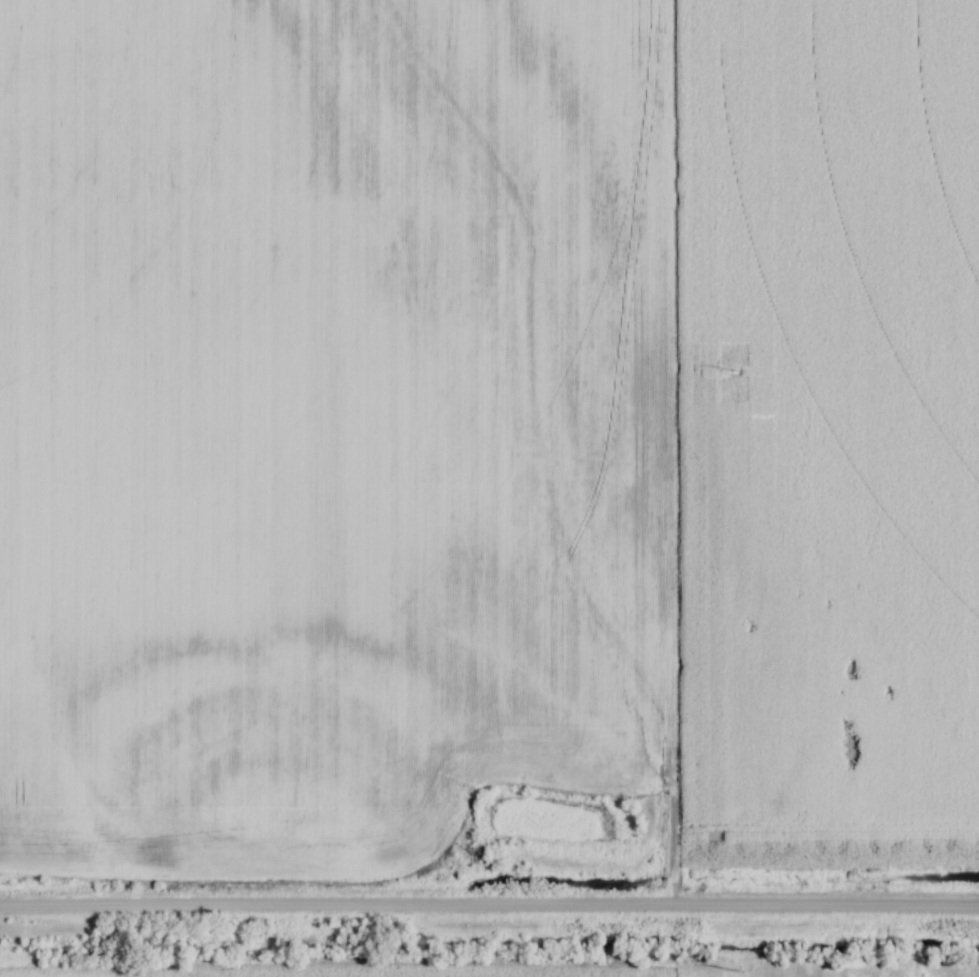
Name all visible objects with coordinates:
road: (489, 909)

